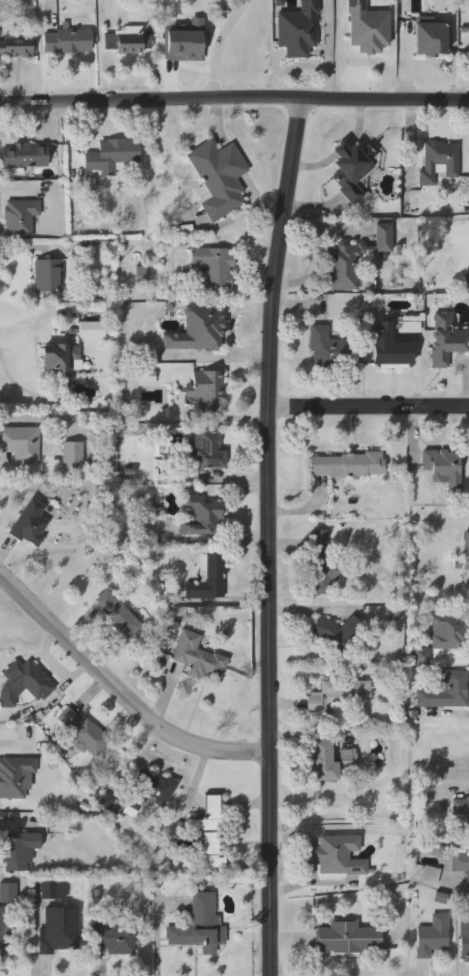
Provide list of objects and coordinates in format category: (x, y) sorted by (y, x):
building: (368, 28)
building: (298, 30)
building: (431, 40)
building: (67, 41)
building: (126, 42)
building: (17, 43)
road: (219, 45)
road: (234, 100)
building: (25, 154)
building: (114, 154)
building: (439, 160)
building: (352, 168)
building: (219, 176)
building: (21, 216)
building: (354, 259)
building: (214, 264)
building: (47, 274)
building: (198, 329)
road: (32, 334)
building: (446, 338)
building: (330, 348)
building: (390, 349)
building: (61, 356)
building: (207, 388)
road: (369, 408)
building: (21, 443)
building: (211, 448)
building: (73, 454)
building: (346, 464)
building: (442, 465)
building: (204, 515)
building: (30, 523)
road: (269, 536)
building: (466, 550)
building: (321, 563)
building: (207, 579)
building: (117, 615)
building: (335, 631)
building: (450, 631)
building: (198, 657)
building: (24, 681)
road: (119, 688)
building: (444, 689)
building: (338, 692)
road: (455, 713)
building: (82, 730)
building: (323, 760)
building: (152, 784)
building: (134, 802)
building: (461, 804)
building: (210, 829)
building: (20, 851)
building: (337, 855)
building: (461, 865)
building: (200, 926)
building: (60, 929)
building: (6, 932)
building: (432, 934)
road: (159, 935)
building: (465, 935)
building: (114, 938)
building: (348, 938)

